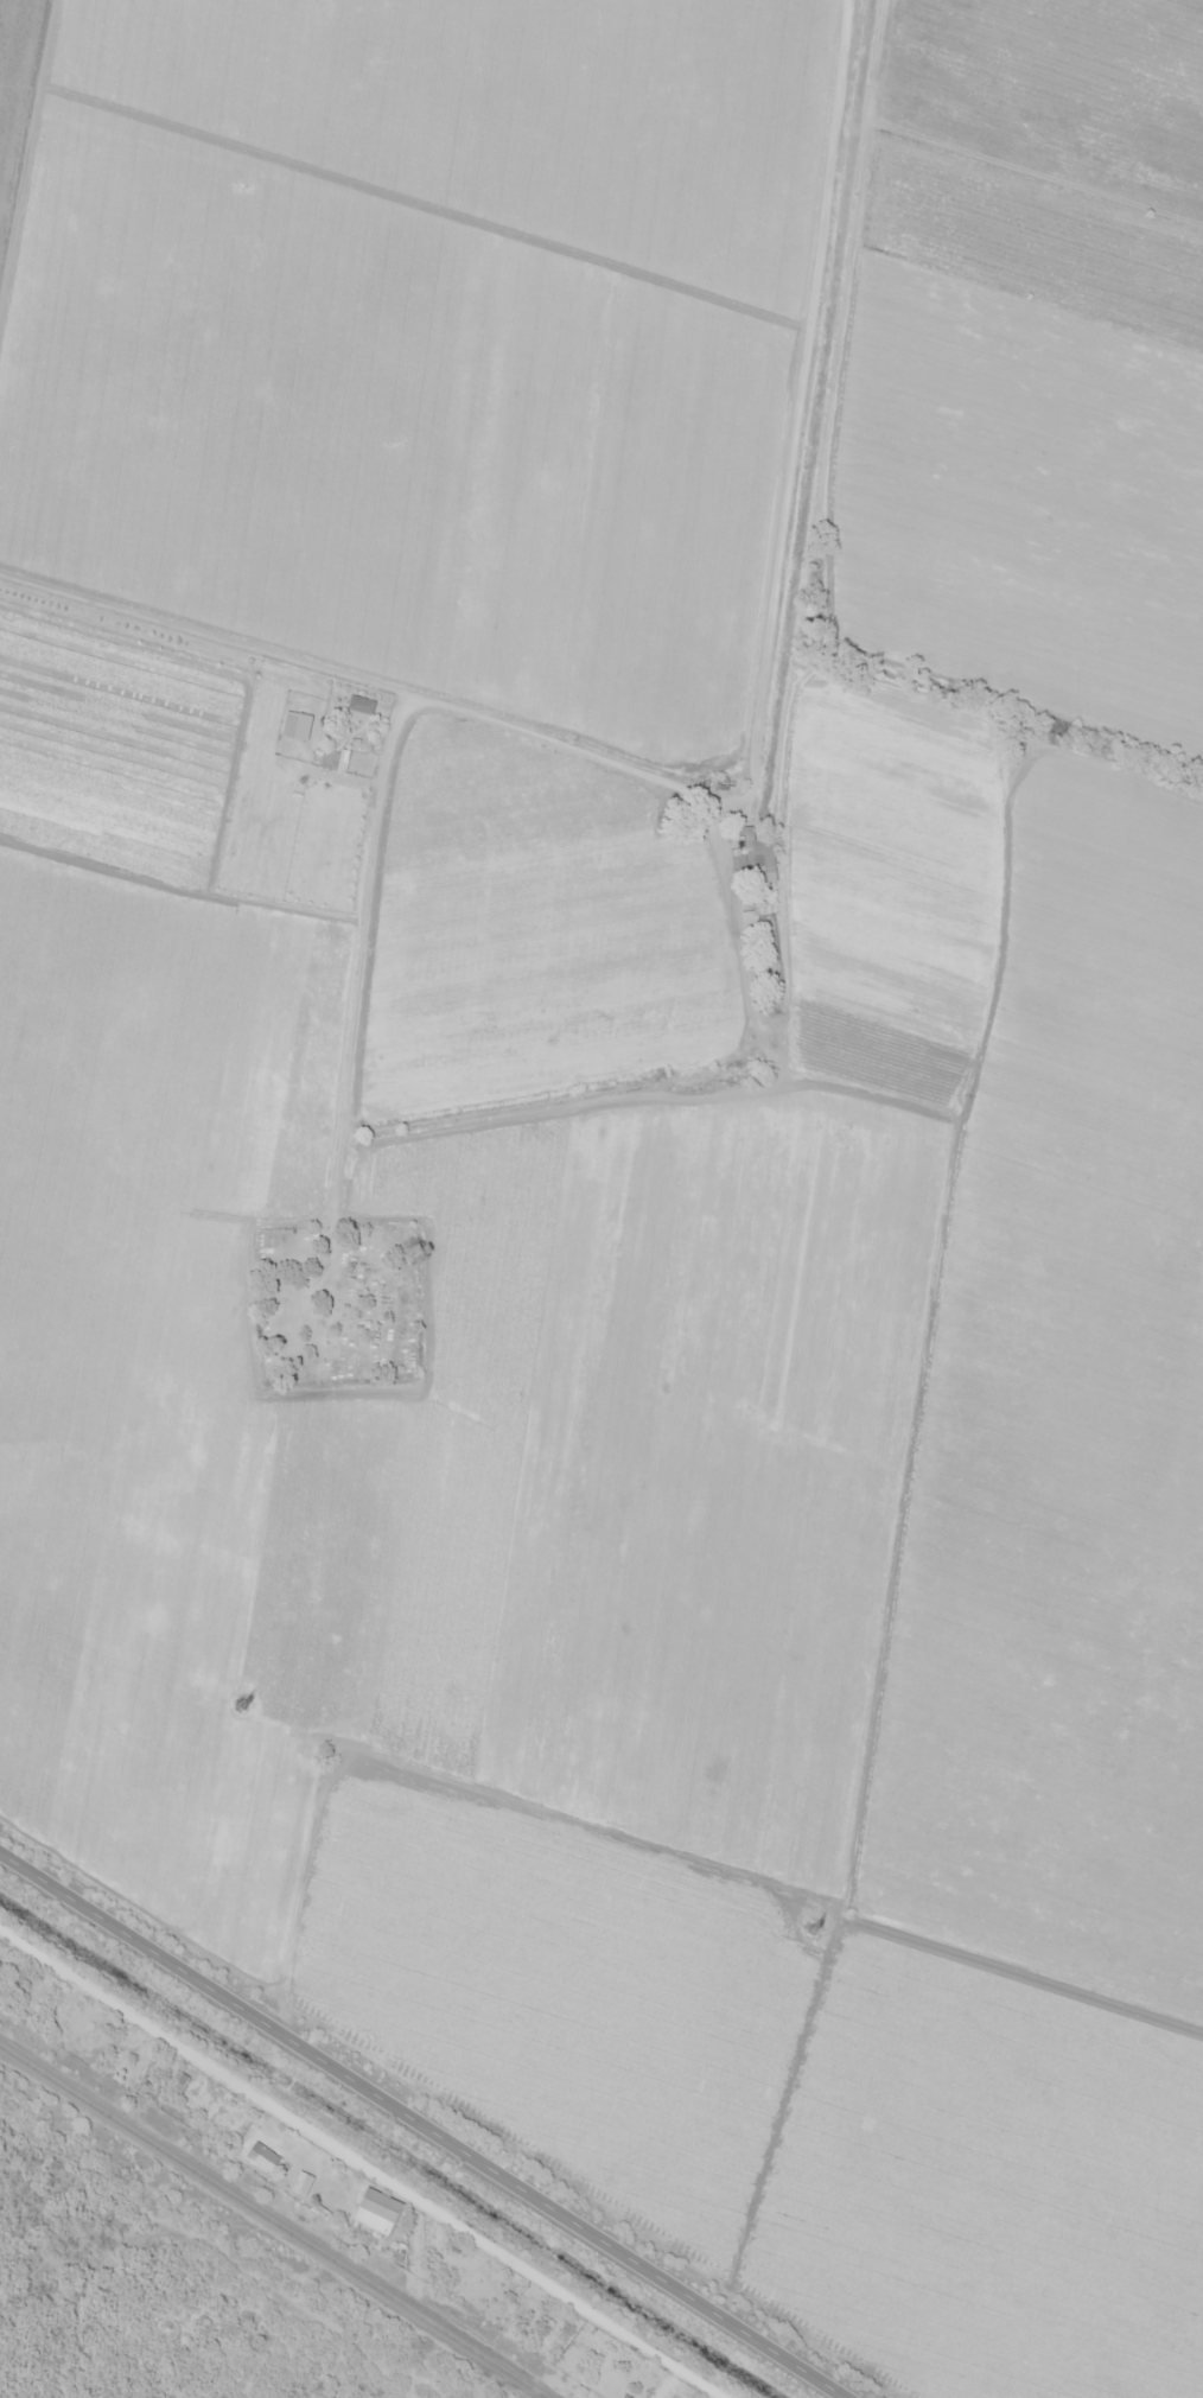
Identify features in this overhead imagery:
park: (337, 1308)
power tower: (242, 1705)
power tower: (811, 1931)

